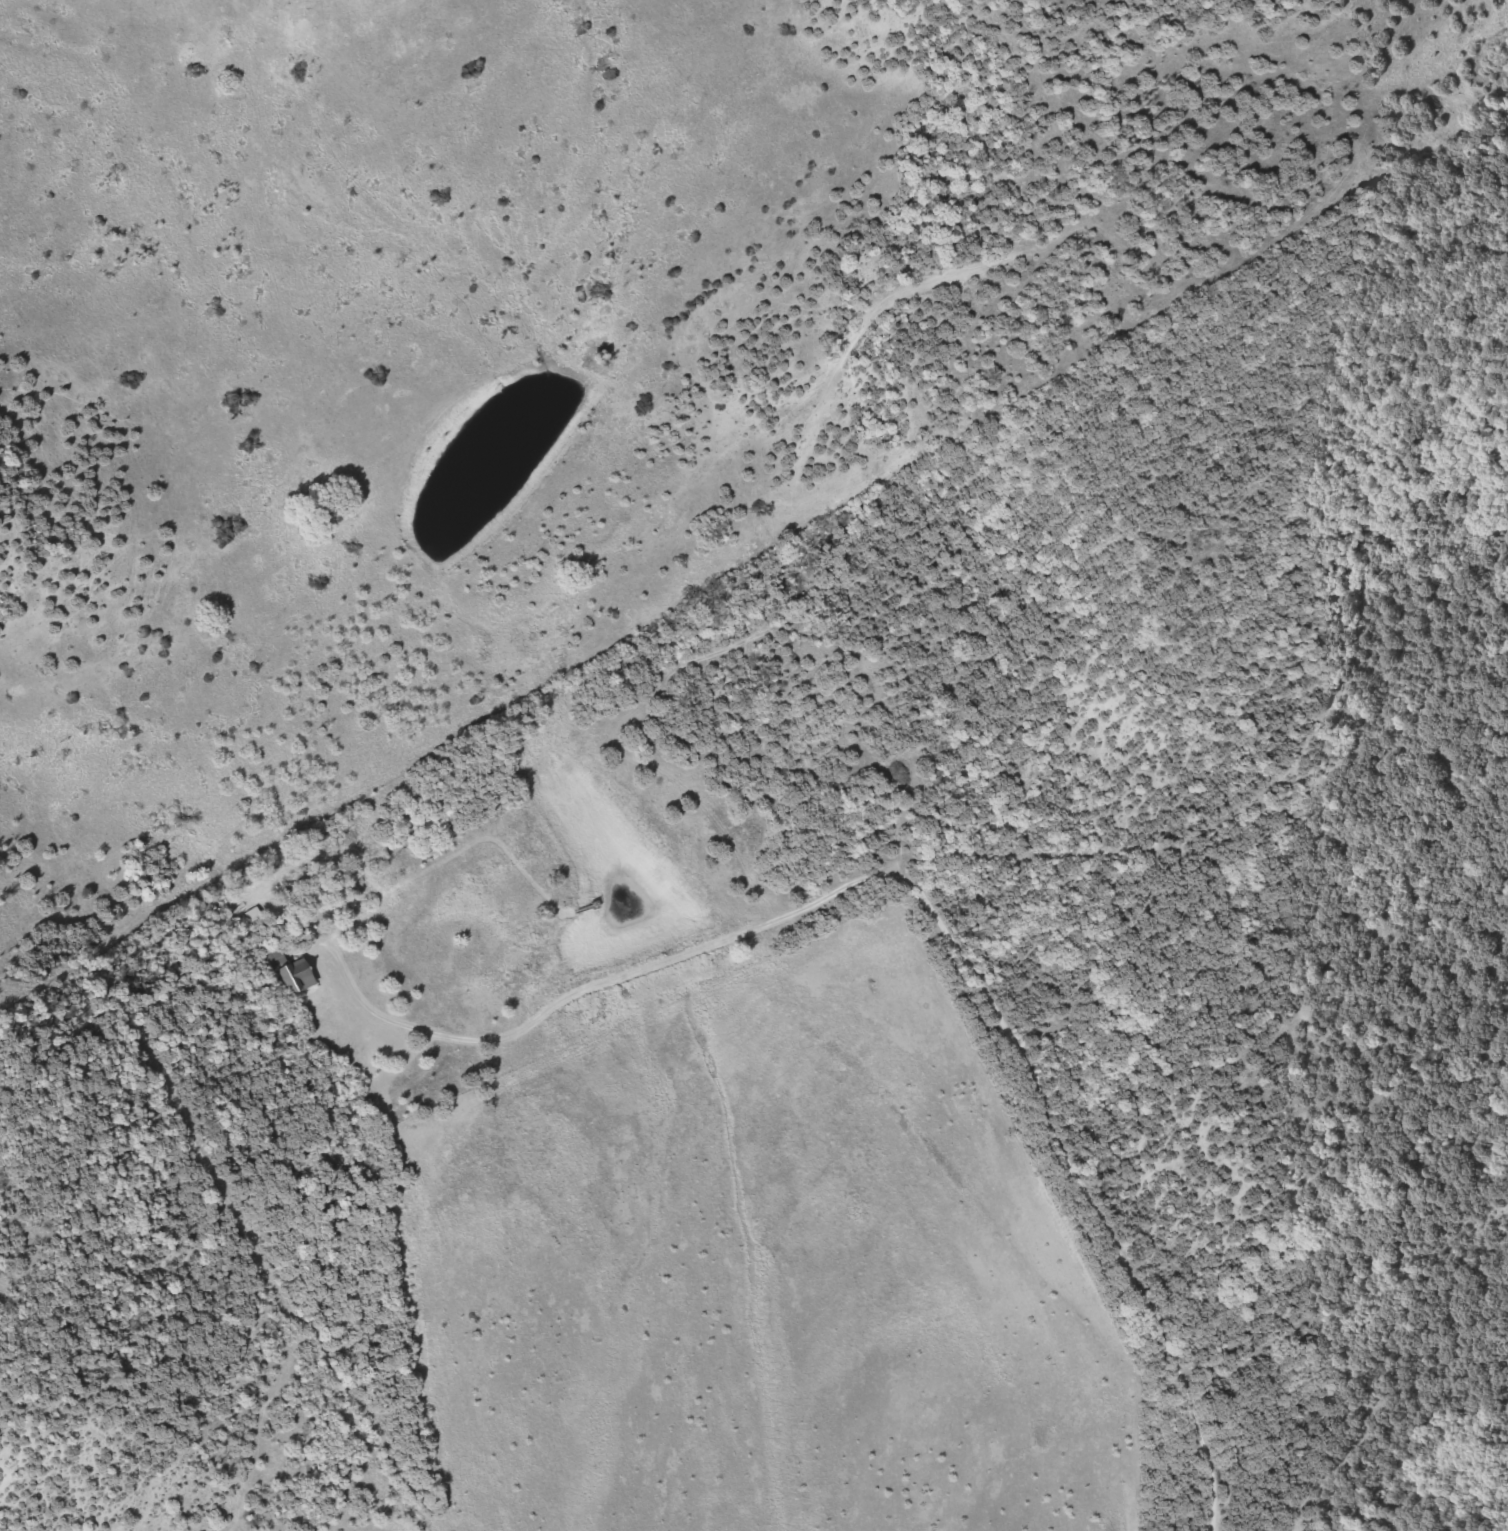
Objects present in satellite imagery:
road: (1501, 747)
road: (633, 835)
building: (283, 971)

